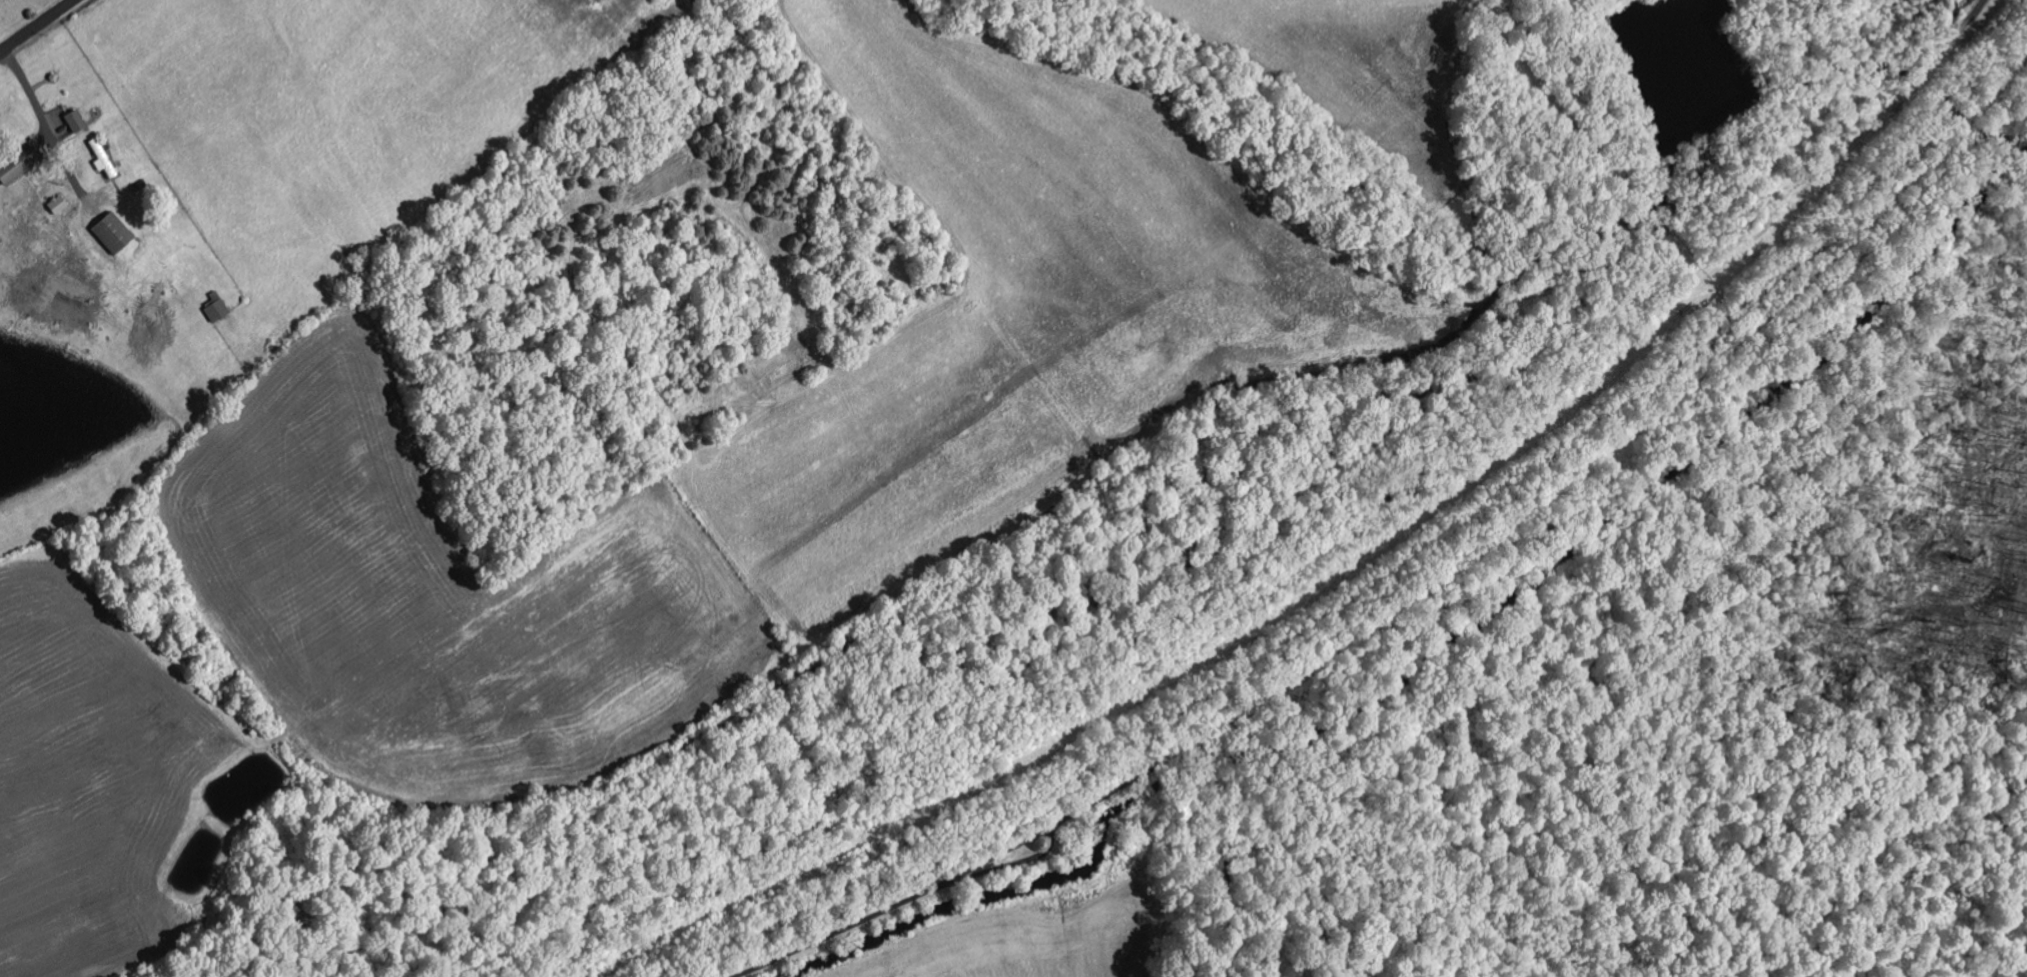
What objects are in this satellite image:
road: (39, 28)
building: (77, 122)
building: (21, 162)
building: (114, 234)
railway: (1443, 545)
road: (1006, 795)

